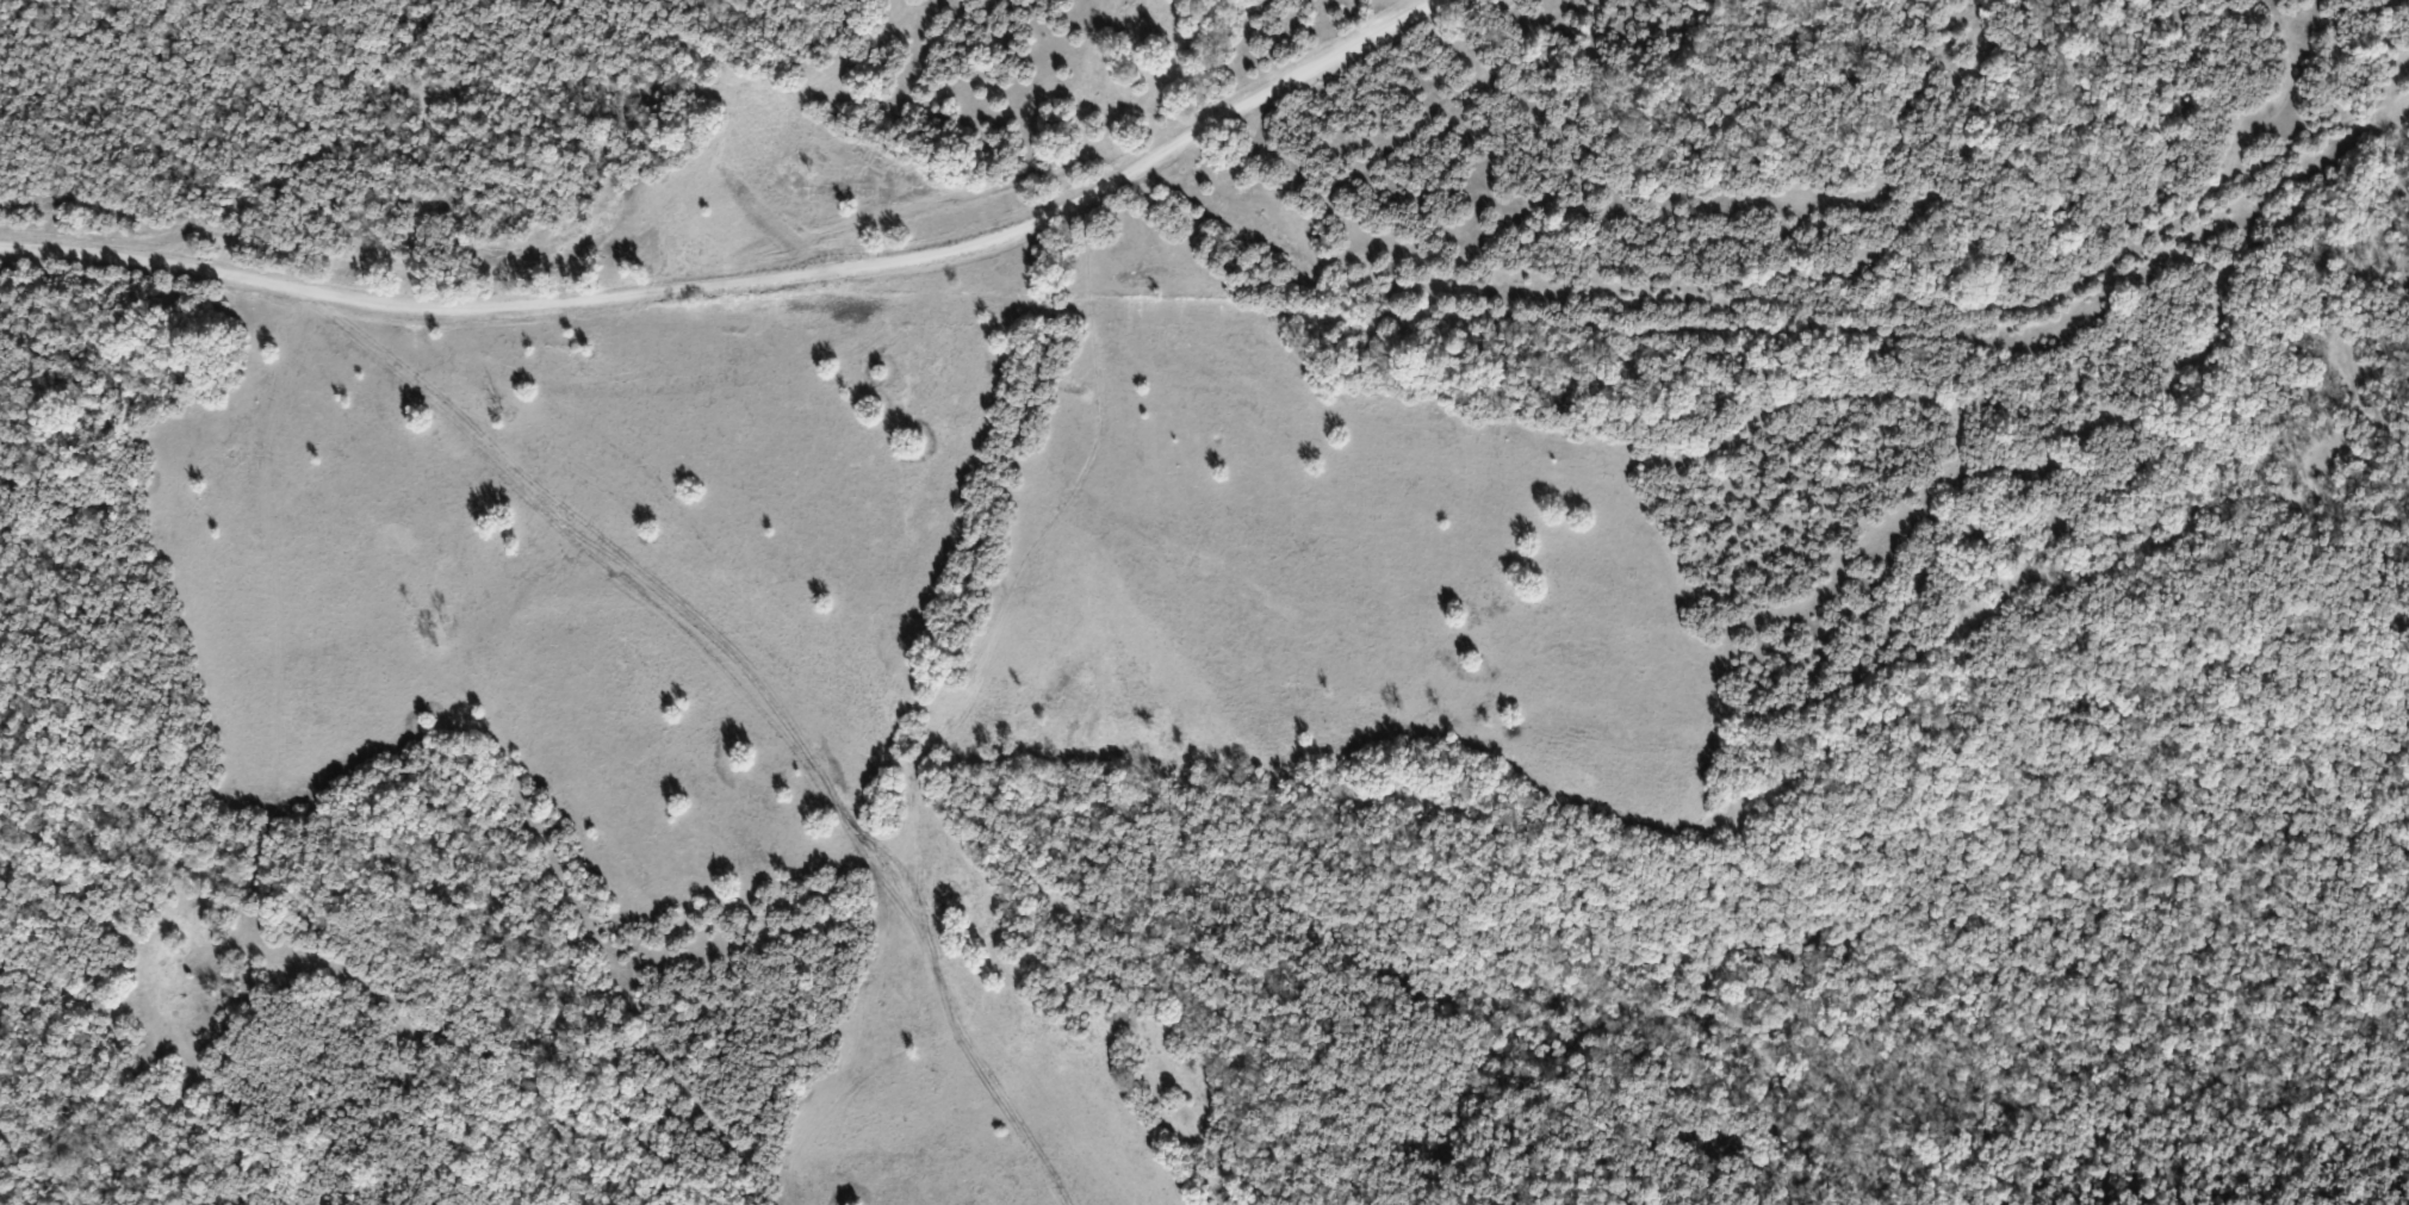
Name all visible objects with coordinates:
road: (750, 284)

